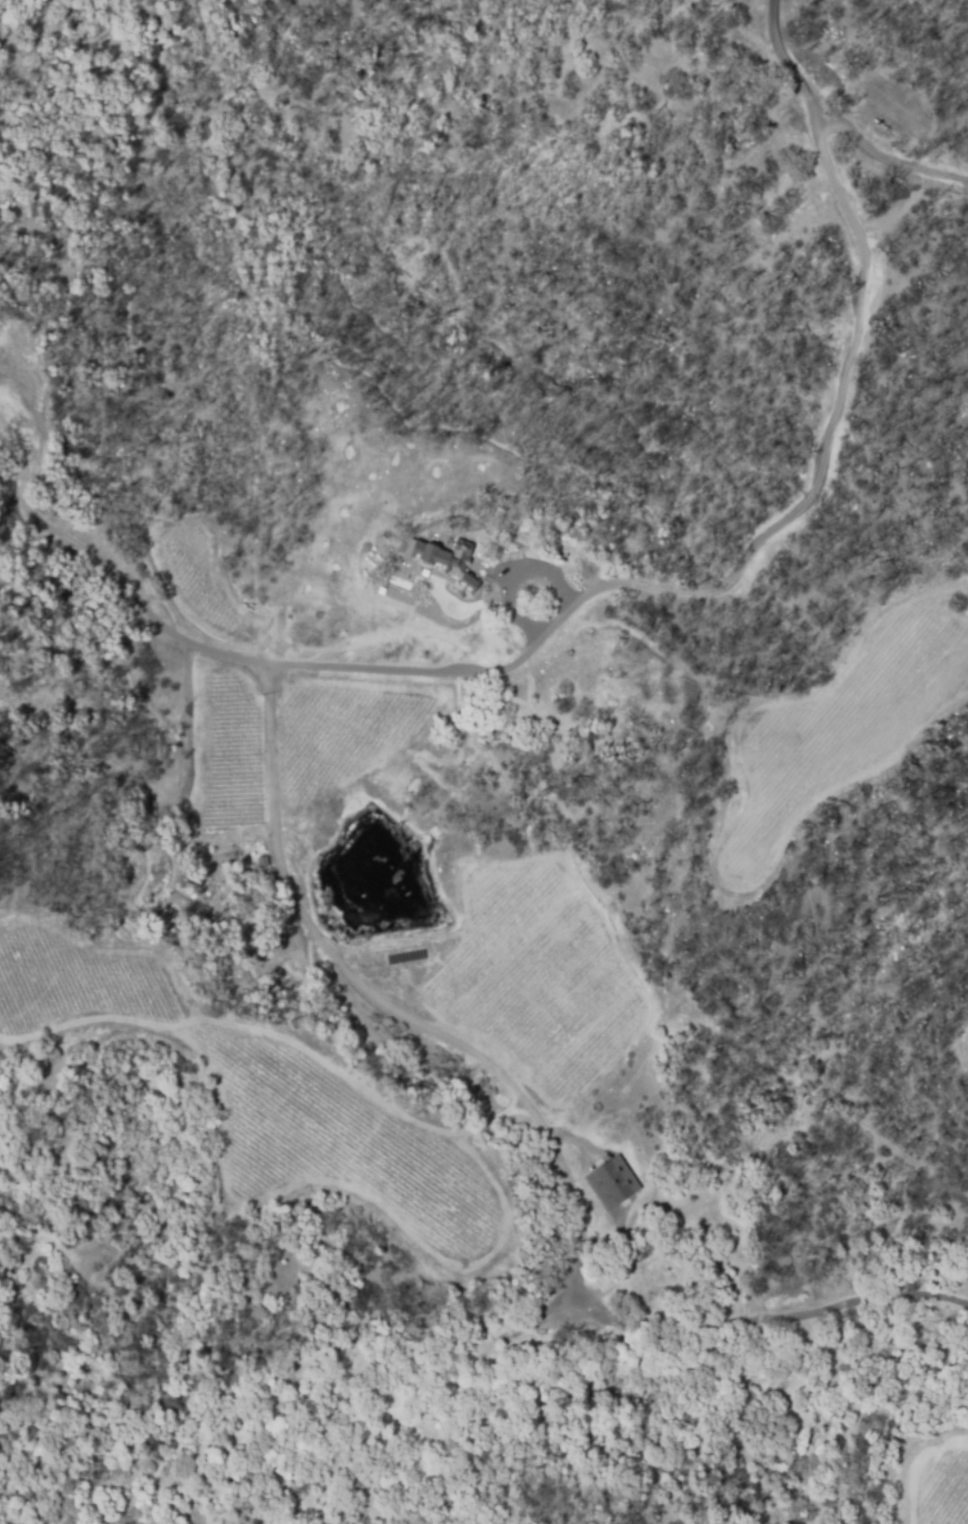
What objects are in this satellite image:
building: (444, 562)
building: (439, 576)
road: (238, 654)
road: (335, 947)
building: (609, 1182)

